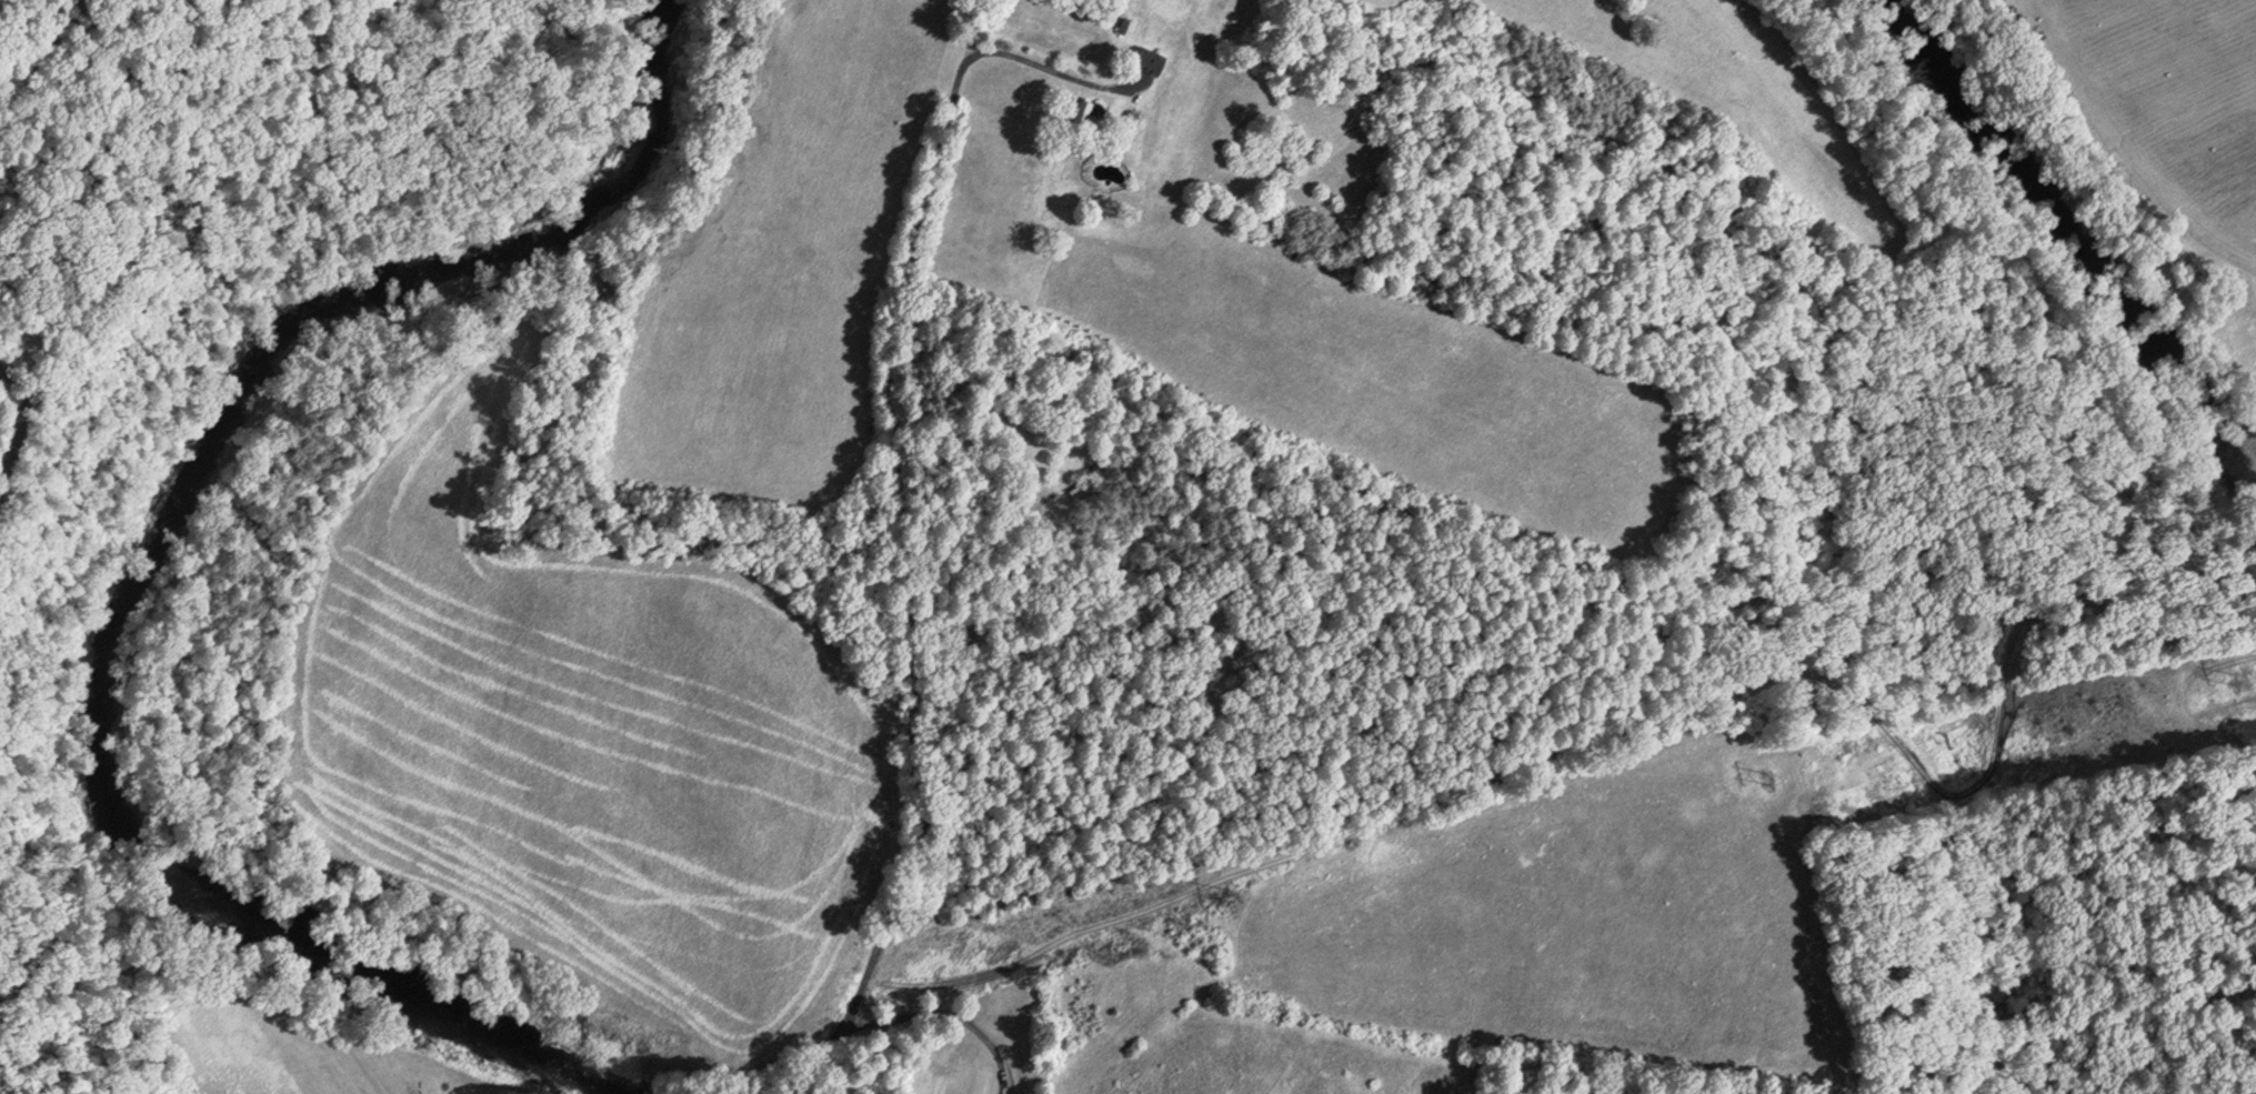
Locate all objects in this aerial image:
building: (1127, 24)
building: (1147, 60)
road: (532, 72)
river: (2044, 205)
road: (12, 383)
road: (13, 443)
road: (915, 516)
river: (149, 551)
road: (946, 1010)
road: (814, 1071)

